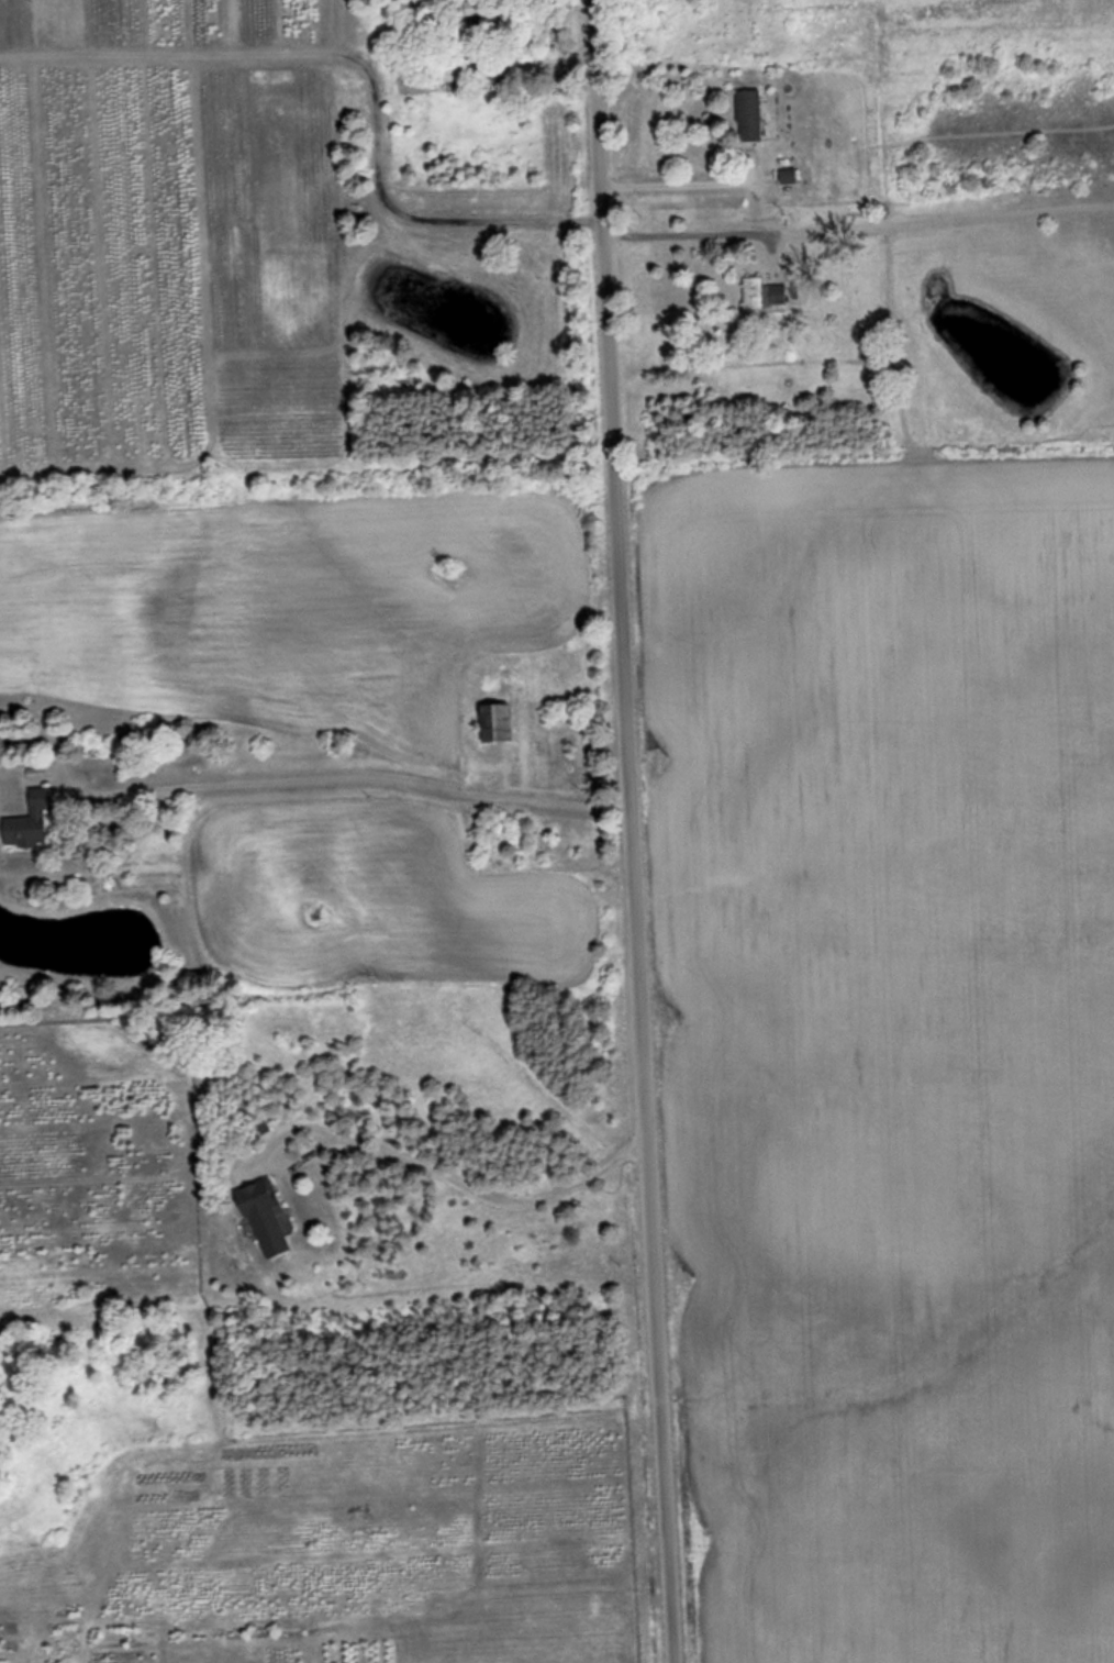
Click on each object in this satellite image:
building: (480, 13)
building: (748, 117)
building: (788, 176)
building: (760, 296)
building: (494, 723)
building: (27, 822)
road: (626, 831)
crop: (894, 1041)
building: (263, 1218)

